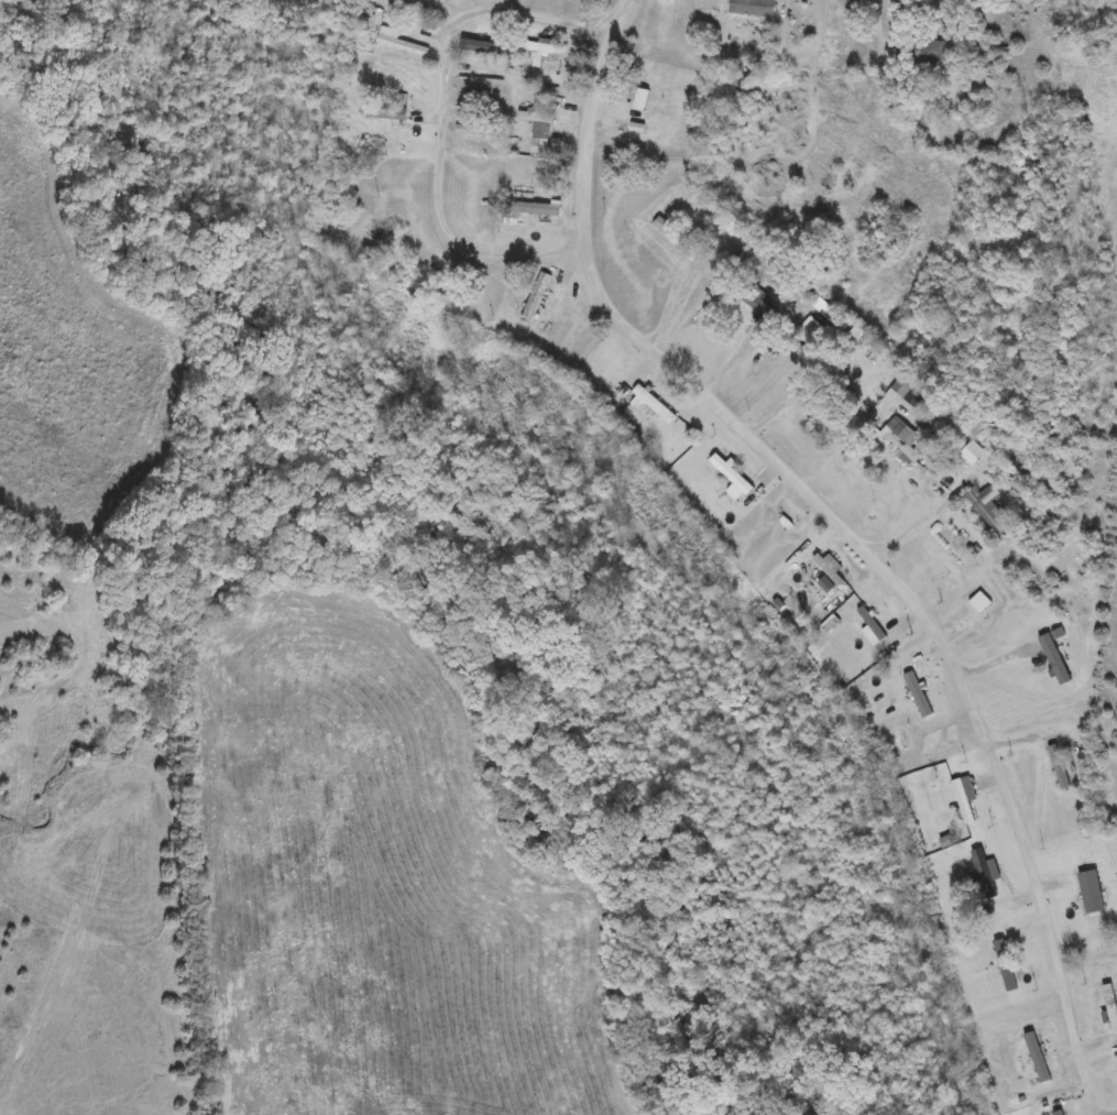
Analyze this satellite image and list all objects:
building: (752, 8)
road: (610, 17)
building: (802, 32)
building: (402, 46)
helipad: (251, 47)
building: (489, 47)
building: (538, 54)
building: (930, 54)
building: (386, 116)
building: (535, 119)
road: (443, 136)
building: (538, 147)
building: (528, 220)
building: (672, 237)
building: (539, 299)
building: (757, 305)
road: (735, 359)
building: (901, 386)
building: (650, 405)
building: (900, 445)
building: (973, 453)
building: (733, 472)
building: (988, 514)
road: (909, 535)
road: (852, 540)
building: (828, 569)
building: (912, 697)
building: (1064, 785)
building: (962, 807)
building: (986, 883)
building: (1087, 892)
building: (1008, 968)
building: (1113, 1010)
building: (1036, 1060)
building: (1058, 1114)

